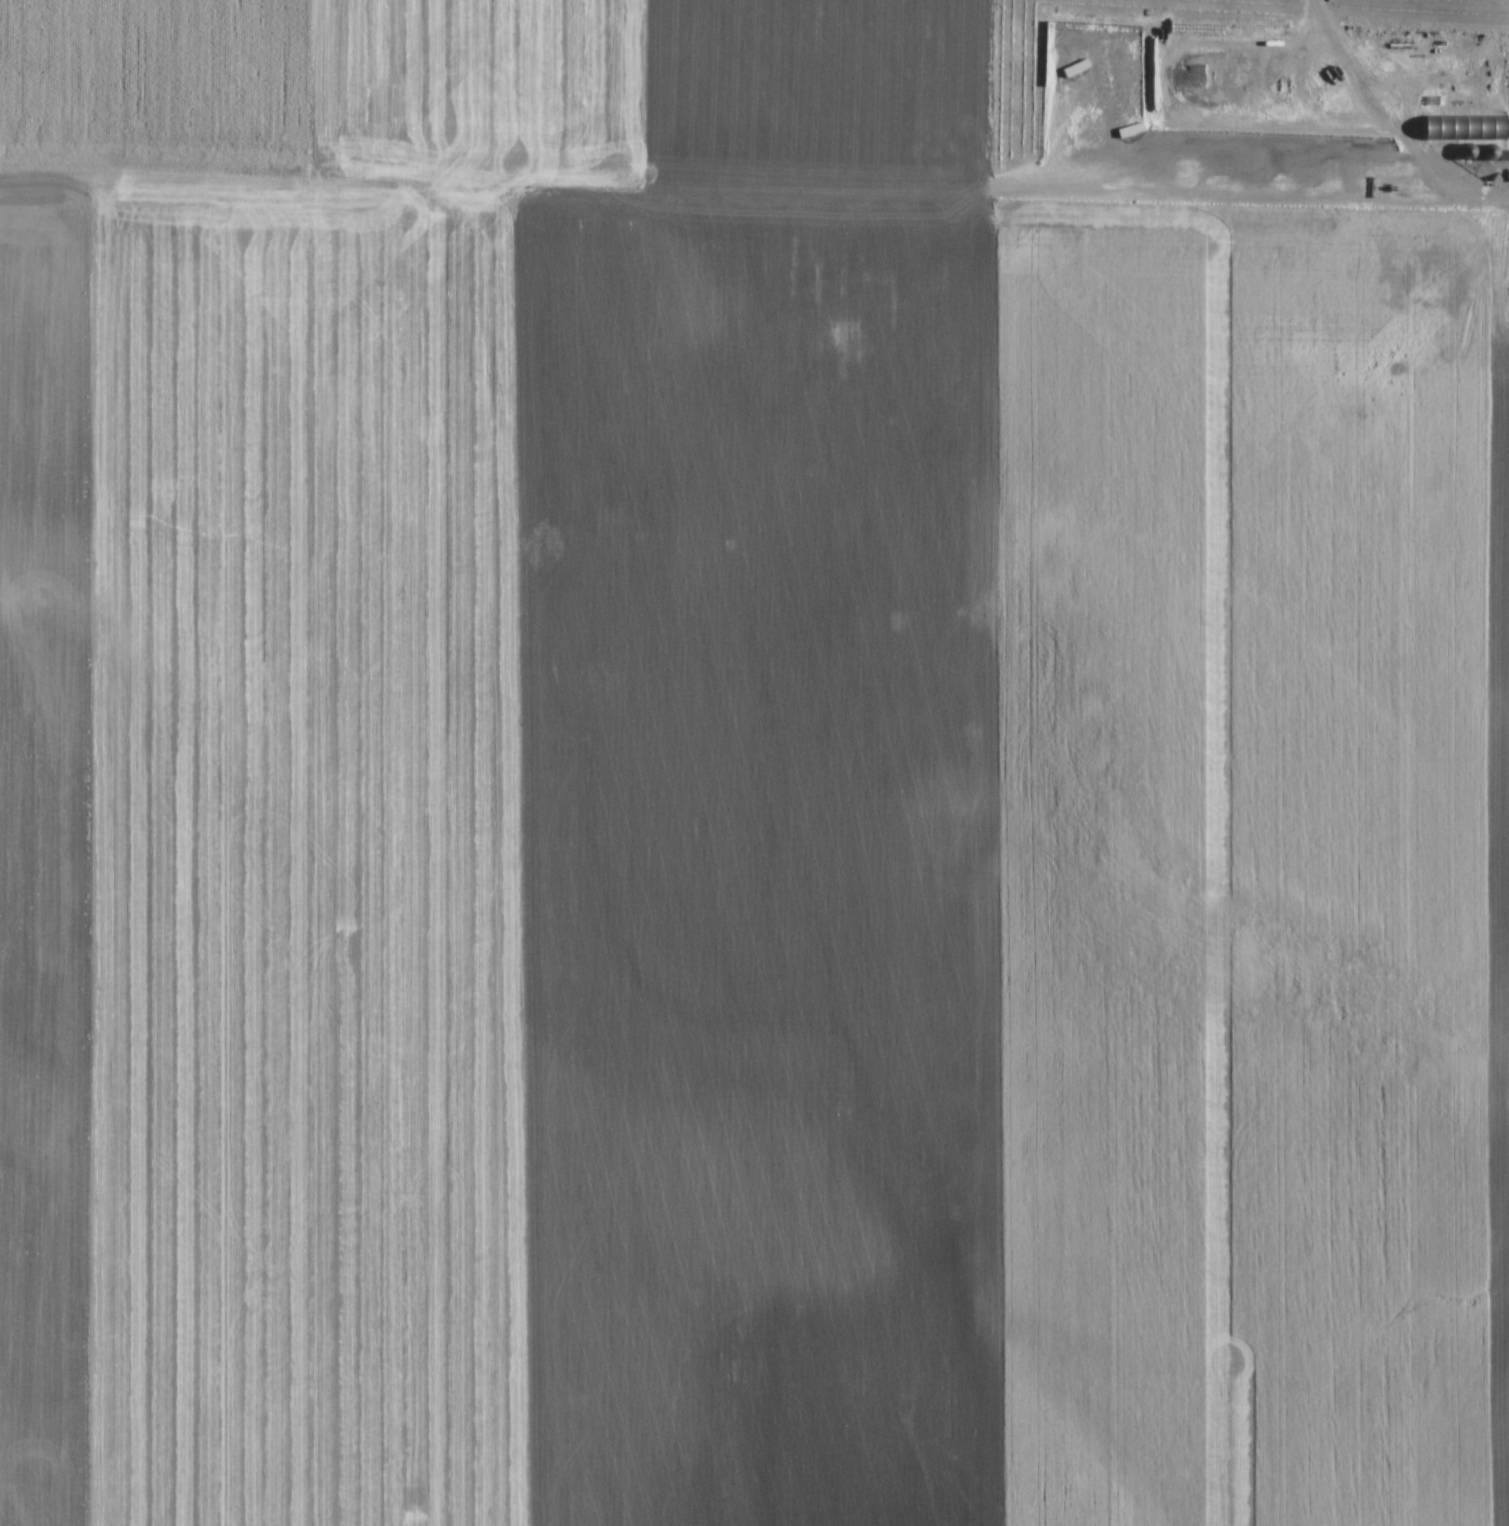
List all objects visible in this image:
building: (1335, 66)
building: (1051, 76)
building: (1130, 127)

